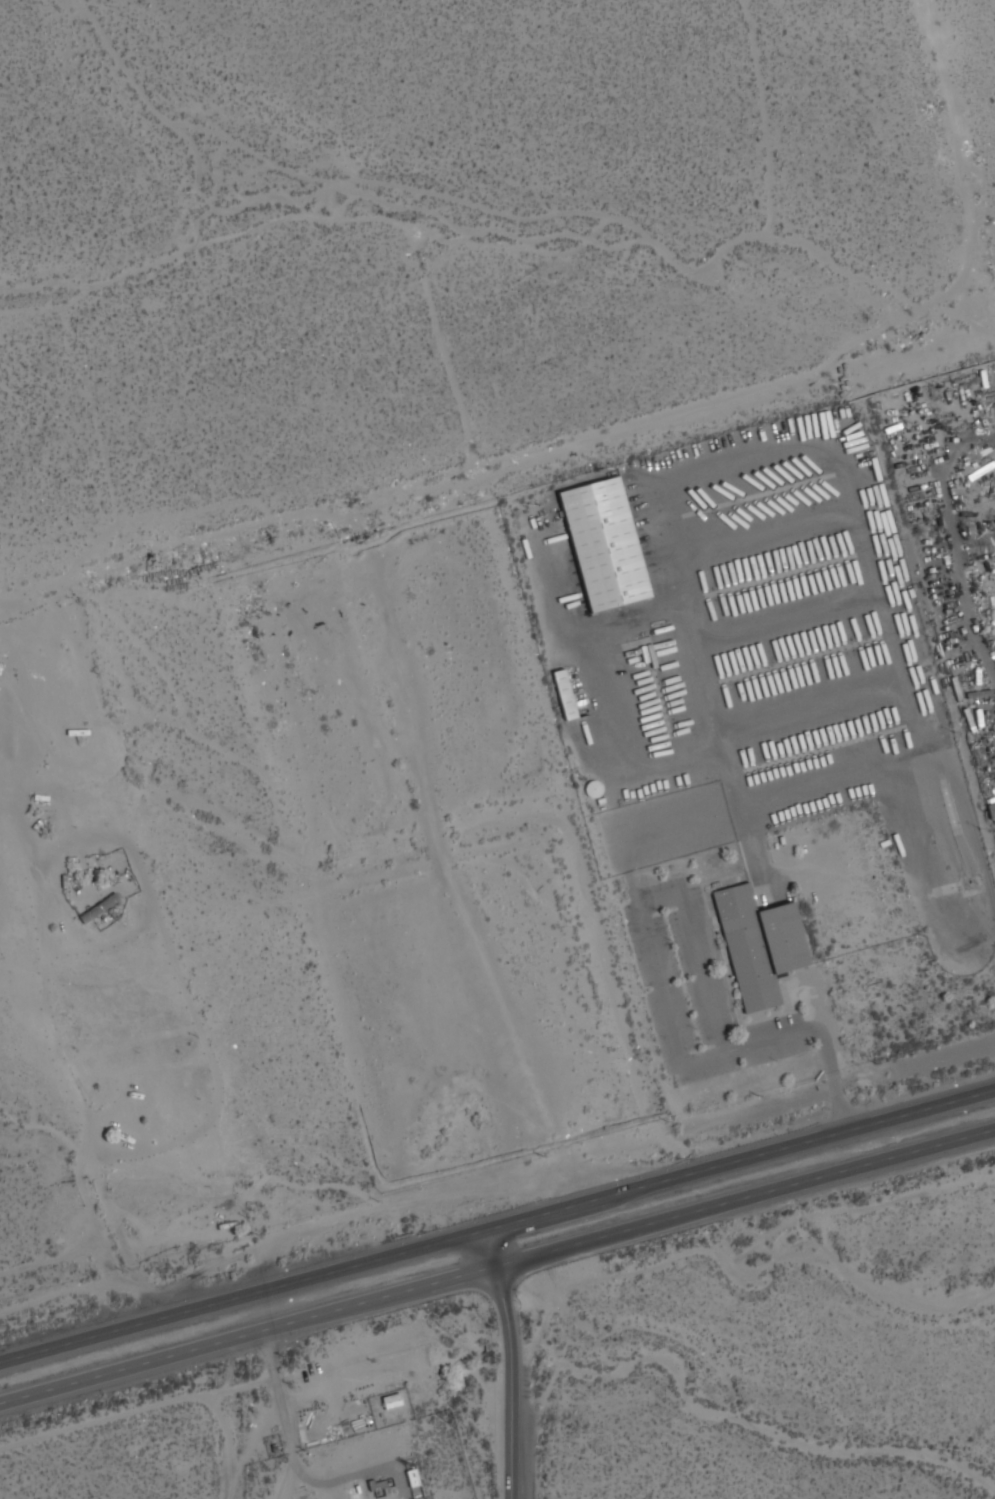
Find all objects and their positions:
building: (604, 545)
building: (564, 693)
building: (992, 811)
road: (967, 824)
building: (764, 938)
parking lot: (696, 992)
road: (661, 999)
road: (497, 1228)
road: (628, 1232)
road: (509, 1363)
road: (131, 1369)
road: (290, 1447)

